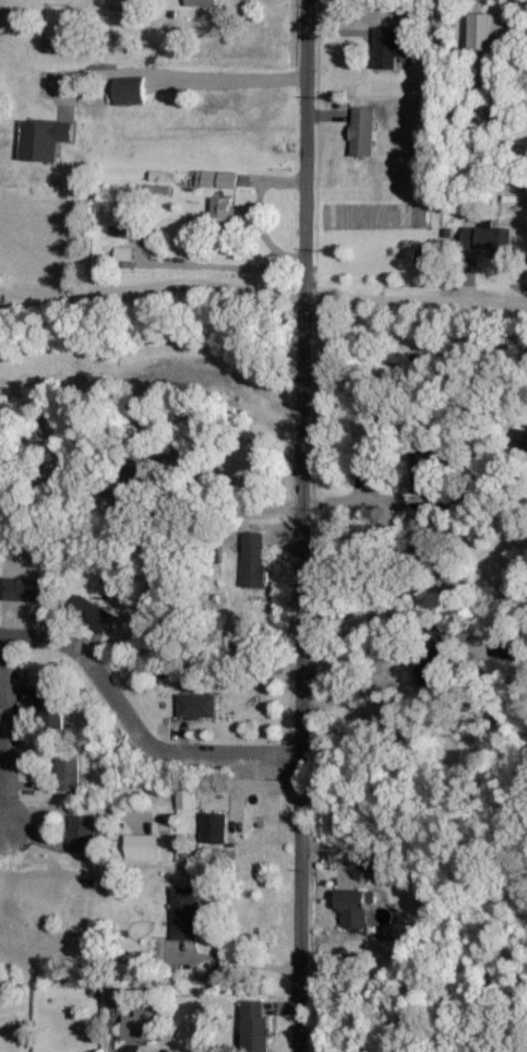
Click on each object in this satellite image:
building: (202, 2)
building: (488, 29)
building: (395, 46)
road: (183, 74)
building: (131, 93)
building: (364, 131)
building: (45, 139)
building: (218, 178)
building: (225, 210)
road: (259, 214)
building: (488, 237)
road: (224, 268)
road: (153, 284)
road: (417, 300)
road: (516, 308)
building: (522, 442)
road: (237, 511)
road: (306, 525)
building: (255, 559)
building: (25, 589)
road: (378, 590)
building: (93, 613)
road: (363, 644)
building: (513, 647)
building: (49, 706)
building: (199, 706)
road: (139, 728)
road: (10, 741)
building: (69, 773)
building: (188, 799)
building: (216, 828)
building: (83, 833)
building: (143, 847)
building: (355, 907)
building: (185, 912)
road: (236, 958)
building: (130, 971)
building: (121, 997)
building: (141, 1026)
building: (257, 1027)

